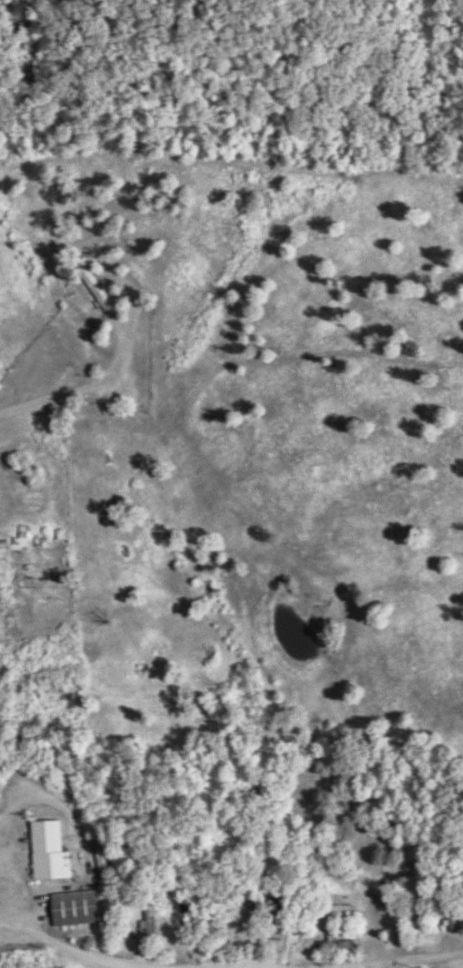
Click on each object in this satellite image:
building: (55, 850)
building: (81, 907)
building: (344, 909)
building: (450, 919)
road: (372, 944)
road: (61, 948)
road: (418, 961)
road: (370, 967)

